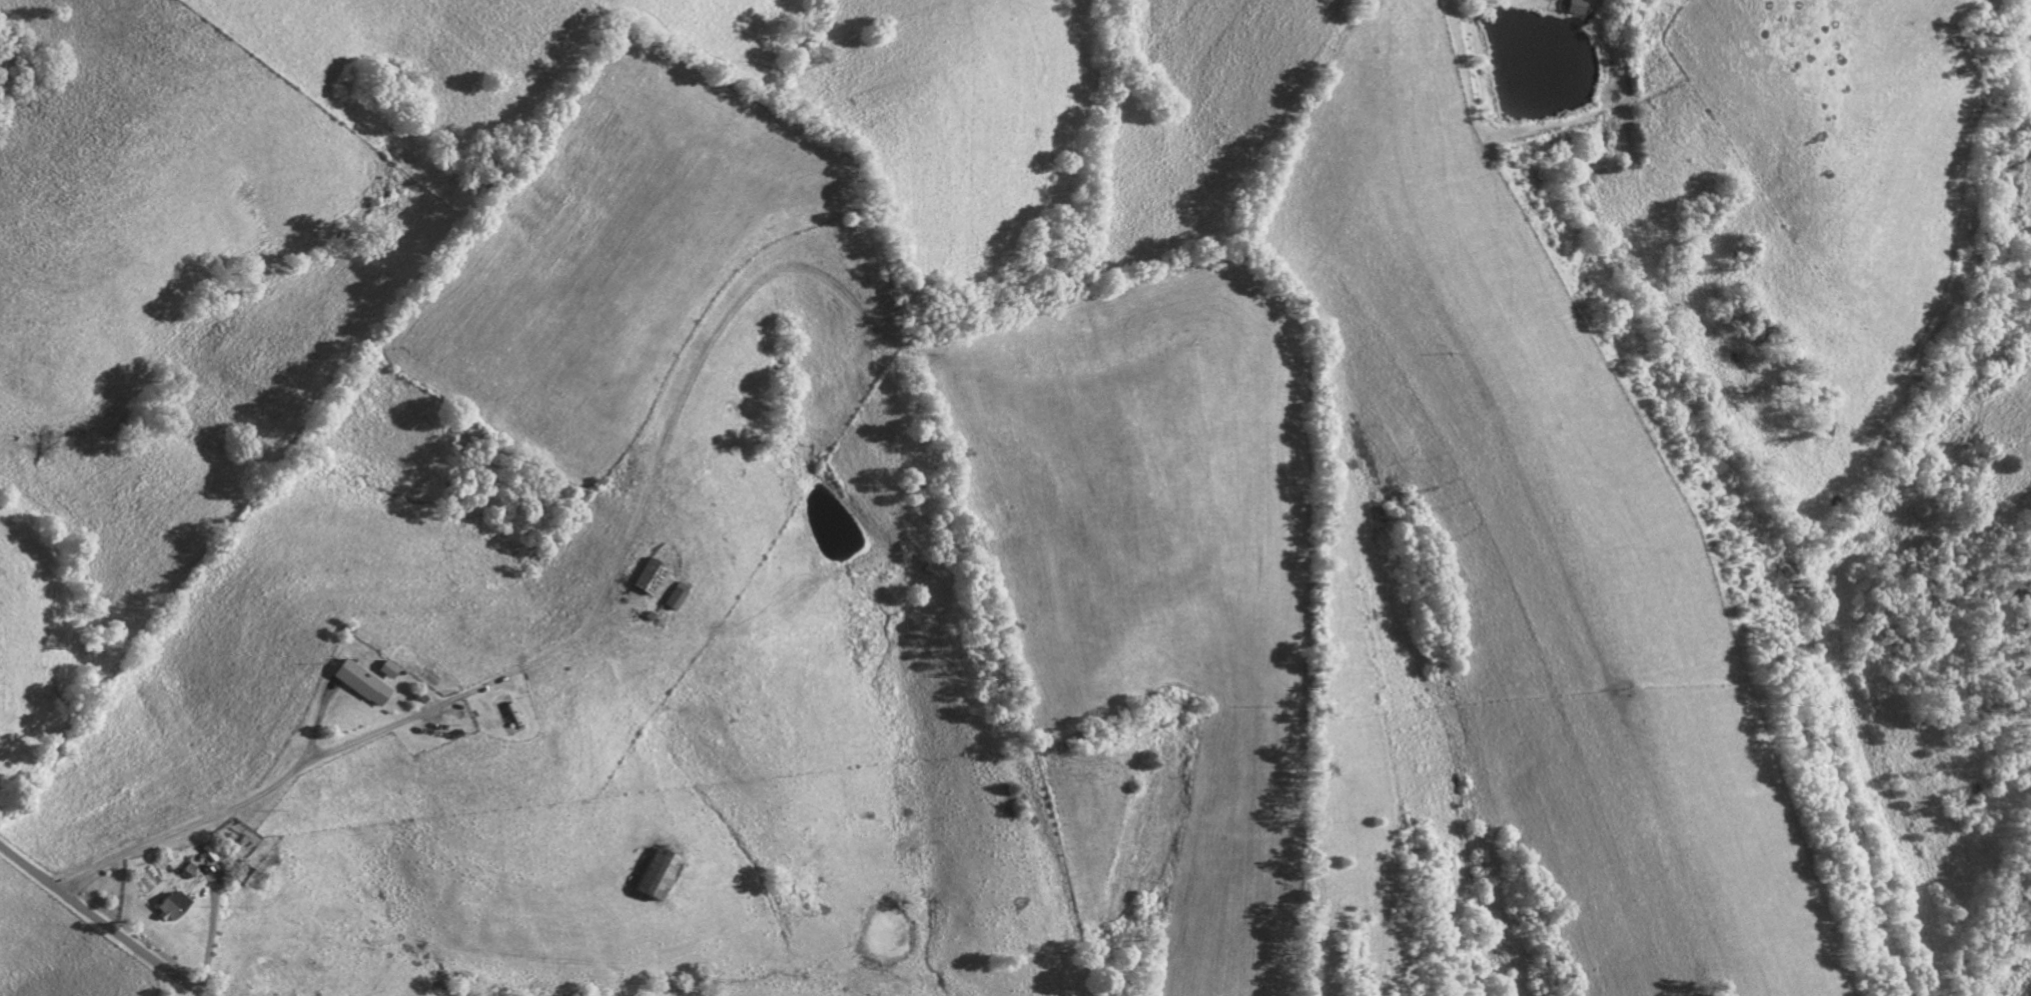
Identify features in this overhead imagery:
building: (653, 576)
building: (678, 595)
building: (391, 669)
building: (366, 683)
road: (341, 747)
building: (662, 875)
building: (176, 906)
road: (100, 922)

